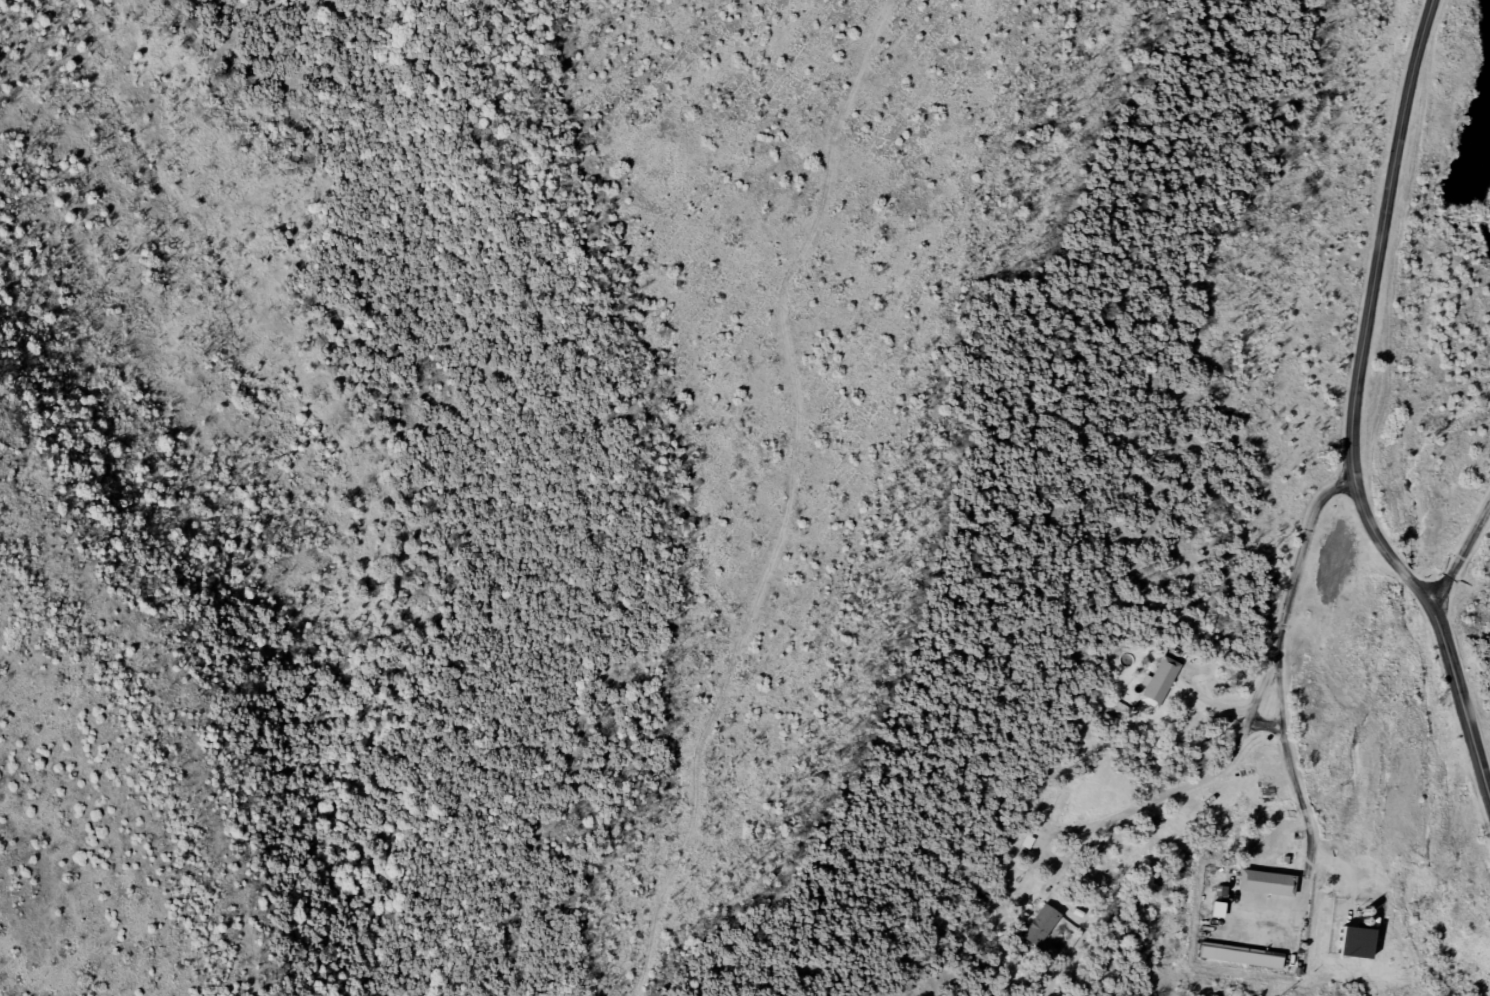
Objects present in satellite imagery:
road: (1351, 418)
park: (743, 498)
road: (1462, 555)
building: (1158, 684)
road: (1299, 783)
road: (1173, 786)
building: (1265, 885)
building: (1039, 927)
building: (1239, 957)

